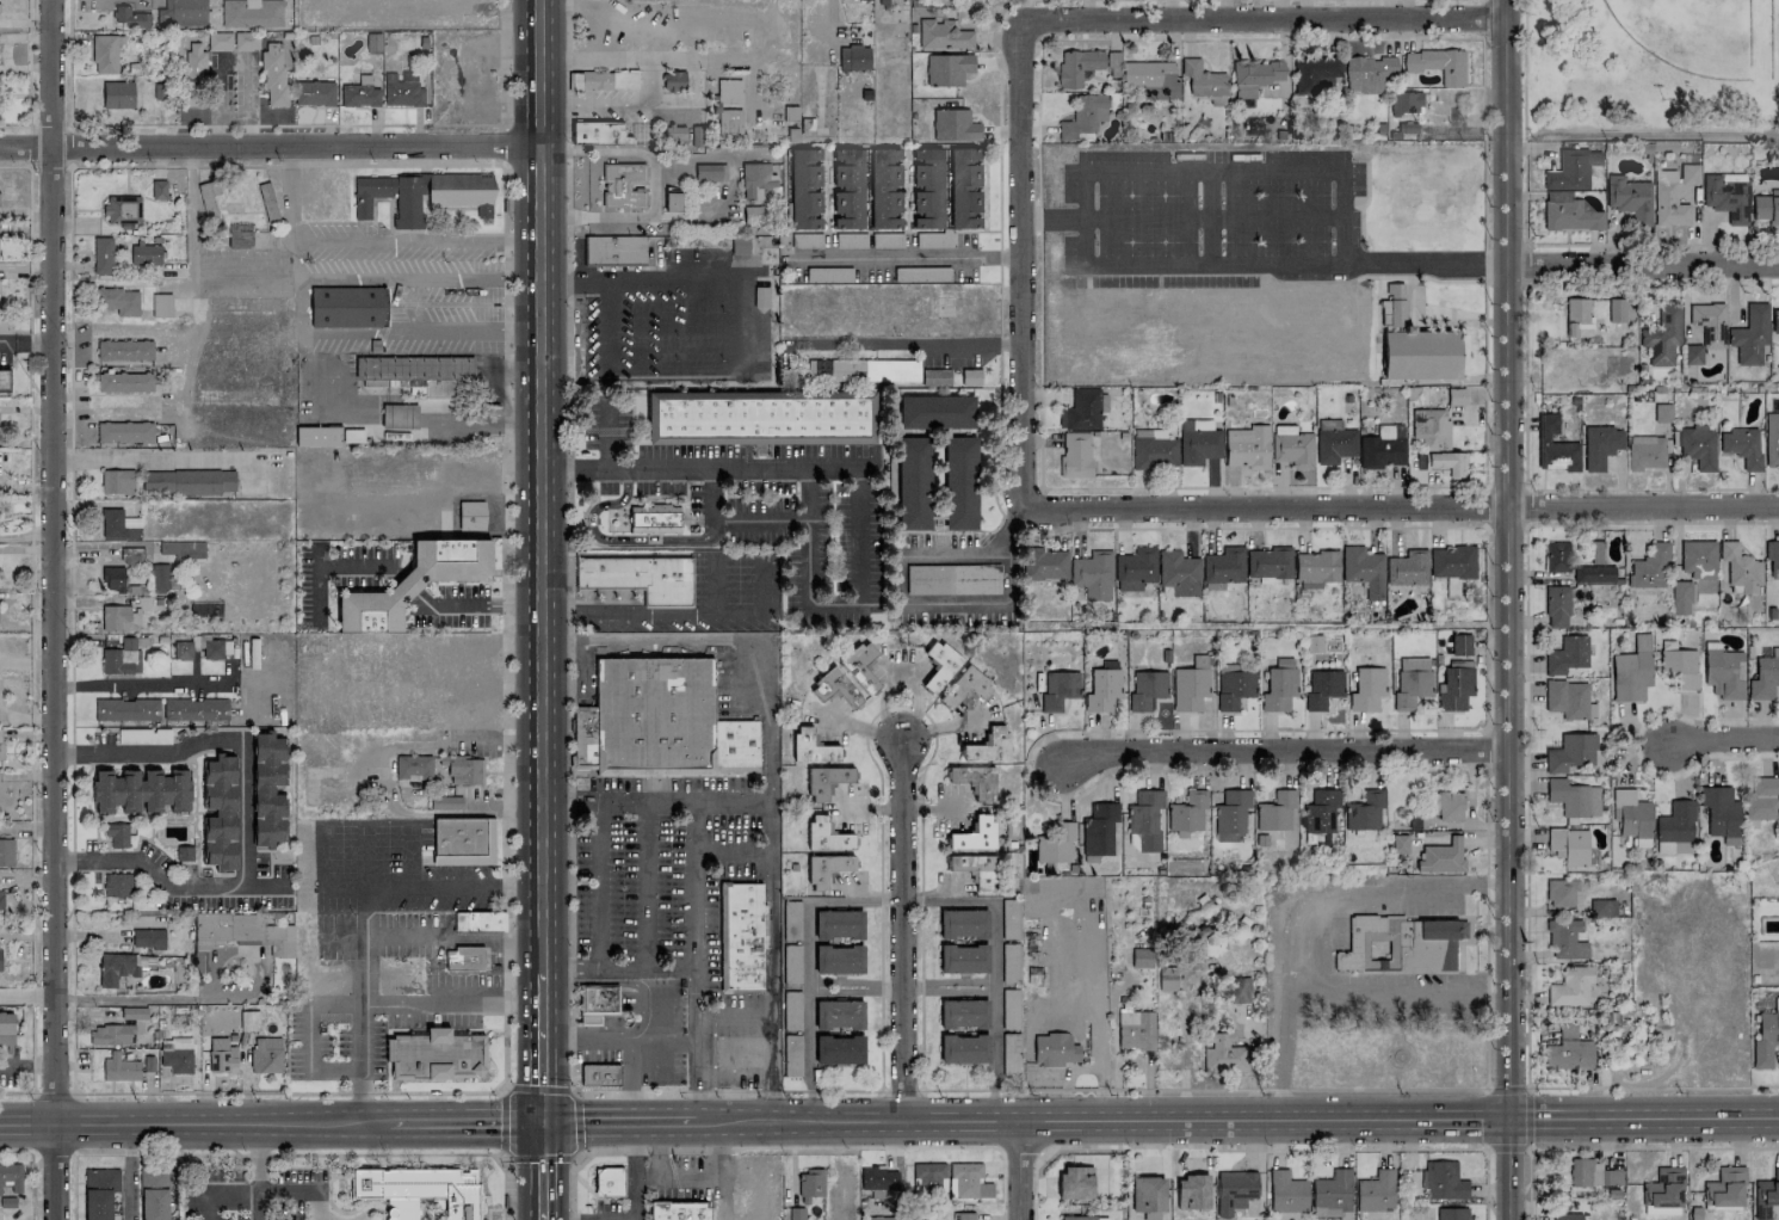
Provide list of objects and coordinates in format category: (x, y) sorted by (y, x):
building: (184, 13)
building: (252, 13)
road: (1264, 14)
building: (131, 18)
road: (829, 26)
park: (1691, 32)
building: (943, 35)
road: (1040, 38)
building: (246, 39)
building: (220, 41)
building: (373, 42)
park: (1775, 48)
building: (105, 53)
building: (853, 57)
road: (589, 60)
building: (1438, 64)
building: (1077, 66)
building: (947, 68)
park: (1651, 69)
building: (1258, 72)
building: (1314, 73)
building: (1369, 73)
building: (193, 74)
building: (273, 74)
road: (27, 76)
building: (1151, 78)
building: (592, 80)
building: (1204, 81)
building: (402, 90)
building: (314, 93)
building: (360, 93)
building: (118, 94)
road: (622, 103)
building: (1406, 103)
building: (1083, 116)
building: (727, 122)
road: (100, 125)
road: (440, 125)
building: (952, 125)
building: (1407, 127)
building: (597, 133)
building: (682, 135)
road: (508, 143)
road: (270, 149)
building: (1570, 170)
building: (706, 172)
building: (1690, 173)
building: (755, 179)
building: (623, 185)
road: (651, 186)
building: (847, 187)
building: (884, 187)
building: (927, 187)
building: (157, 189)
building: (805, 189)
building: (964, 190)
building: (1630, 198)
building: (1725, 198)
building: (209, 199)
building: (1668, 199)
building: (267, 201)
building: (457, 201)
building: (1766, 207)
building: (123, 210)
building: (1568, 212)
road: (291, 214)
building: (753, 218)
road: (1054, 220)
road: (508, 230)
building: (235, 239)
road: (415, 244)
building: (743, 245)
road: (1524, 245)
building: (614, 249)
building: (146, 254)
road: (1083, 254)
building: (103, 255)
road: (912, 255)
road: (1025, 258)
road: (1641, 266)
road: (192, 267)
road: (638, 273)
building: (118, 301)
road: (450, 303)
building: (1396, 303)
building: (161, 304)
road: (302, 306)
building: (346, 306)
building: (1616, 309)
building: (1384, 314)
building: (1576, 315)
building: (1774, 321)
building: (1709, 324)
building: (5, 329)
building: (1750, 334)
building: (1662, 335)
road: (906, 341)
road: (25, 343)
building: (124, 350)
building: (1692, 353)
building: (1421, 355)
road: (441, 370)
building: (860, 370)
building: (414, 371)
building: (4, 378)
building: (125, 382)
building: (1456, 396)
building: (1081, 409)
building: (935, 412)
building: (1662, 412)
building: (400, 415)
building: (759, 418)
road: (424, 420)
building: (1431, 427)
road: (599, 430)
building: (125, 432)
building: (328, 436)
building: (1772, 439)
road: (717, 442)
building: (1198, 442)
building: (1335, 444)
building: (1600, 445)
building: (1741, 445)
building: (1247, 446)
building: (1292, 446)
building: (1383, 446)
building: (1553, 446)
building: (1698, 446)
building: (1154, 450)
building: (1645, 452)
building: (1076, 455)
road: (150, 457)
building: (1448, 463)
building: (117, 481)
building: (189, 482)
building: (913, 483)
building: (959, 483)
road: (541, 486)
road: (1653, 489)
road: (712, 494)
road: (859, 495)
road: (995, 498)
road: (1403, 501)
road: (1525, 506)
road: (1485, 509)
building: (471, 516)
building: (654, 518)
road: (1651, 522)
building: (117, 524)
road: (612, 542)
building: (184, 548)
road: (26, 549)
building: (1596, 554)
building: (1556, 556)
building: (1772, 557)
building: (1698, 559)
building: (1452, 561)
building: (1268, 562)
building: (1045, 563)
road: (328, 566)
building: (1223, 567)
building: (1650, 567)
building: (1135, 568)
building: (1316, 568)
building: (1407, 568)
building: (1364, 569)
building: (1740, 569)
building: (1179, 573)
building: (1093, 574)
building: (1593, 574)
building: (640, 577)
building: (113, 578)
building: (163, 578)
building: (952, 579)
building: (414, 583)
road: (408, 584)
road: (604, 594)
road: (624, 594)
road: (70, 596)
road: (587, 596)
building: (1681, 597)
road: (604, 600)
road: (928, 605)
road: (476, 606)
building: (1557, 606)
road: (54, 609)
road: (1506, 610)
road: (675, 611)
building: (121, 618)
building: (1315, 642)
road: (731, 643)
building: (1460, 645)
building: (198, 647)
building: (1567, 655)
building: (122, 658)
building: (860, 666)
building: (940, 666)
building: (1680, 666)
building: (1632, 671)
building: (1724, 673)
building: (1765, 677)
building: (1412, 680)
road: (141, 683)
building: (1279, 685)
building: (835, 688)
building: (965, 688)
building: (1234, 688)
building: (1058, 689)
building: (1147, 689)
building: (1190, 689)
building: (1323, 689)
building: (1367, 689)
building: (1454, 689)
building: (1102, 691)
road: (504, 696)
building: (1567, 698)
building: (126, 709)
building: (197, 710)
building: (653, 714)
building: (0, 731)
road: (1722, 734)
building: (582, 737)
road: (495, 739)
building: (734, 744)
building: (989, 746)
road: (1632, 746)
building: (1, 748)
road: (1280, 751)
building: (1573, 752)
building: (821, 753)
building: (413, 766)
building: (463, 770)
road: (661, 774)
building: (975, 780)
building: (824, 781)
building: (267, 789)
building: (141, 790)
building: (1573, 797)
building: (1762, 799)
building: (446, 802)
building: (1446, 805)
road: (1526, 805)
road: (1487, 806)
road: (927, 807)
building: (1188, 811)
building: (1320, 811)
building: (1364, 811)
building: (220, 812)
building: (1275, 812)
building: (1721, 812)
building: (1630, 813)
building: (1230, 814)
road: (243, 817)
building: (1145, 819)
building: (1675, 822)
road: (26, 826)
building: (1099, 828)
building: (117, 833)
building: (975, 834)
building: (826, 836)
building: (463, 840)
building: (1400, 843)
building: (1056, 844)
building: (1569, 846)
building: (1673, 846)
building: (6, 851)
building: (1441, 857)
building: (974, 868)
building: (826, 869)
road: (770, 876)
road: (26, 877)
road: (603, 882)
building: (118, 885)
road: (934, 888)
road: (1355, 889)
building: (1563, 892)
building: (1, 899)
building: (1602, 907)
building: (478, 920)
building: (963, 923)
building: (838, 924)
road: (901, 929)
road: (692, 931)
building: (236, 934)
building: (740, 934)
building: (148, 937)
road: (450, 937)
road: (719, 937)
building: (1565, 938)
road: (359, 943)
building: (1400, 944)
building: (463, 956)
building: (1142, 957)
building: (0, 959)
building: (838, 959)
building: (962, 959)
building: (122, 967)
building: (1167, 978)
road: (946, 981)
building: (1571, 986)
road: (693, 990)
building: (1238, 990)
road: (946, 991)
road: (237, 993)
road: (1330, 996)
road: (147, 997)
road: (26, 998)
building: (594, 1000)
building: (1777, 1003)
building: (134, 1012)
building: (963, 1012)
road: (992, 1012)
building: (838, 1013)
building: (249, 1021)
building: (1009, 1023)
road: (693, 1025)
building: (6, 1028)
building: (1135, 1029)
building: (111, 1034)
road: (310, 1036)
road: (628, 1036)
building: (1766, 1039)
road: (712, 1040)
road: (542, 1047)
building: (963, 1048)
building: (839, 1049)
building: (1055, 1049)
building: (1569, 1050)
building: (1223, 1053)
building: (434, 1054)
building: (222, 1055)
building: (266, 1055)
building: (178, 1056)
road: (364, 1060)
building: (125, 1066)
road: (27, 1068)
road: (574, 1073)
building: (599, 1073)
road: (1507, 1086)
road: (1653, 1086)
road: (536, 1087)
road: (873, 1090)
road: (469, 1091)
road: (1487, 1116)
road: (1527, 1116)
road: (500, 1121)
road: (1160, 1121)
road: (270, 1123)
road: (581, 1123)
road: (1508, 1146)
road: (1653, 1147)
road: (791, 1148)
road: (1227, 1151)
road: (286, 1153)
road: (541, 1156)
road: (32, 1169)
road: (543, 1170)
road: (131, 1171)
road: (257, 1171)
building: (928, 1171)
road: (1019, 1171)
road: (630, 1173)
road: (673, 1173)
building: (1593, 1173)
building: (11, 1176)
road: (686, 1176)
building: (879, 1178)
building: (607, 1179)
building: (1443, 1181)
building: (969, 1182)
road: (1530, 1182)
building: (810, 1183)
road: (1485, 1183)
building: (1725, 1188)
building: (1235, 1190)
building: (1332, 1190)
building: (1193, 1191)
building: (1286, 1191)
building: (1376, 1191)
building: (99, 1193)
building: (420, 1193)
building: (1663, 1193)
building: (154, 1194)
building: (1148, 1194)
building: (1766, 1195)
building: (7, 1202)
building: (679, 1210)
building: (1326, 1212)
building: (1452, 1213)
building: (964, 1216)
building: (1565, 1216)
building: (1085, 1218)
building: (885, 1219)

